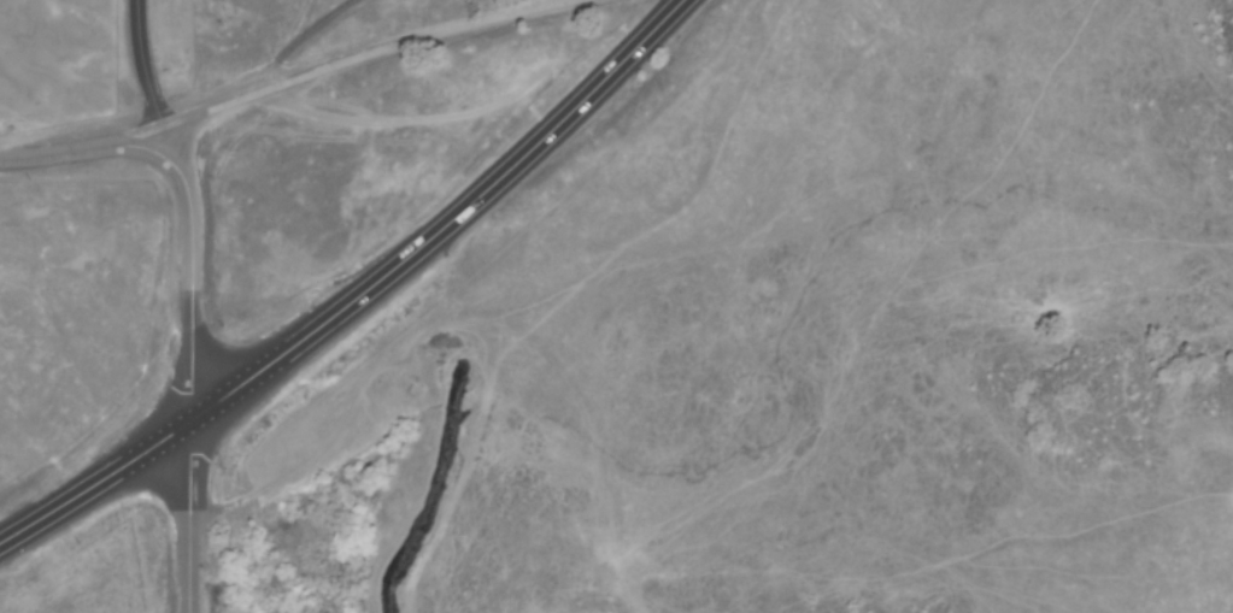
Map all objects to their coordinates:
road: (305, 37)
road: (419, 43)
road: (146, 75)
road: (206, 112)
road: (76, 149)
road: (187, 279)
road: (357, 293)
road: (189, 517)

